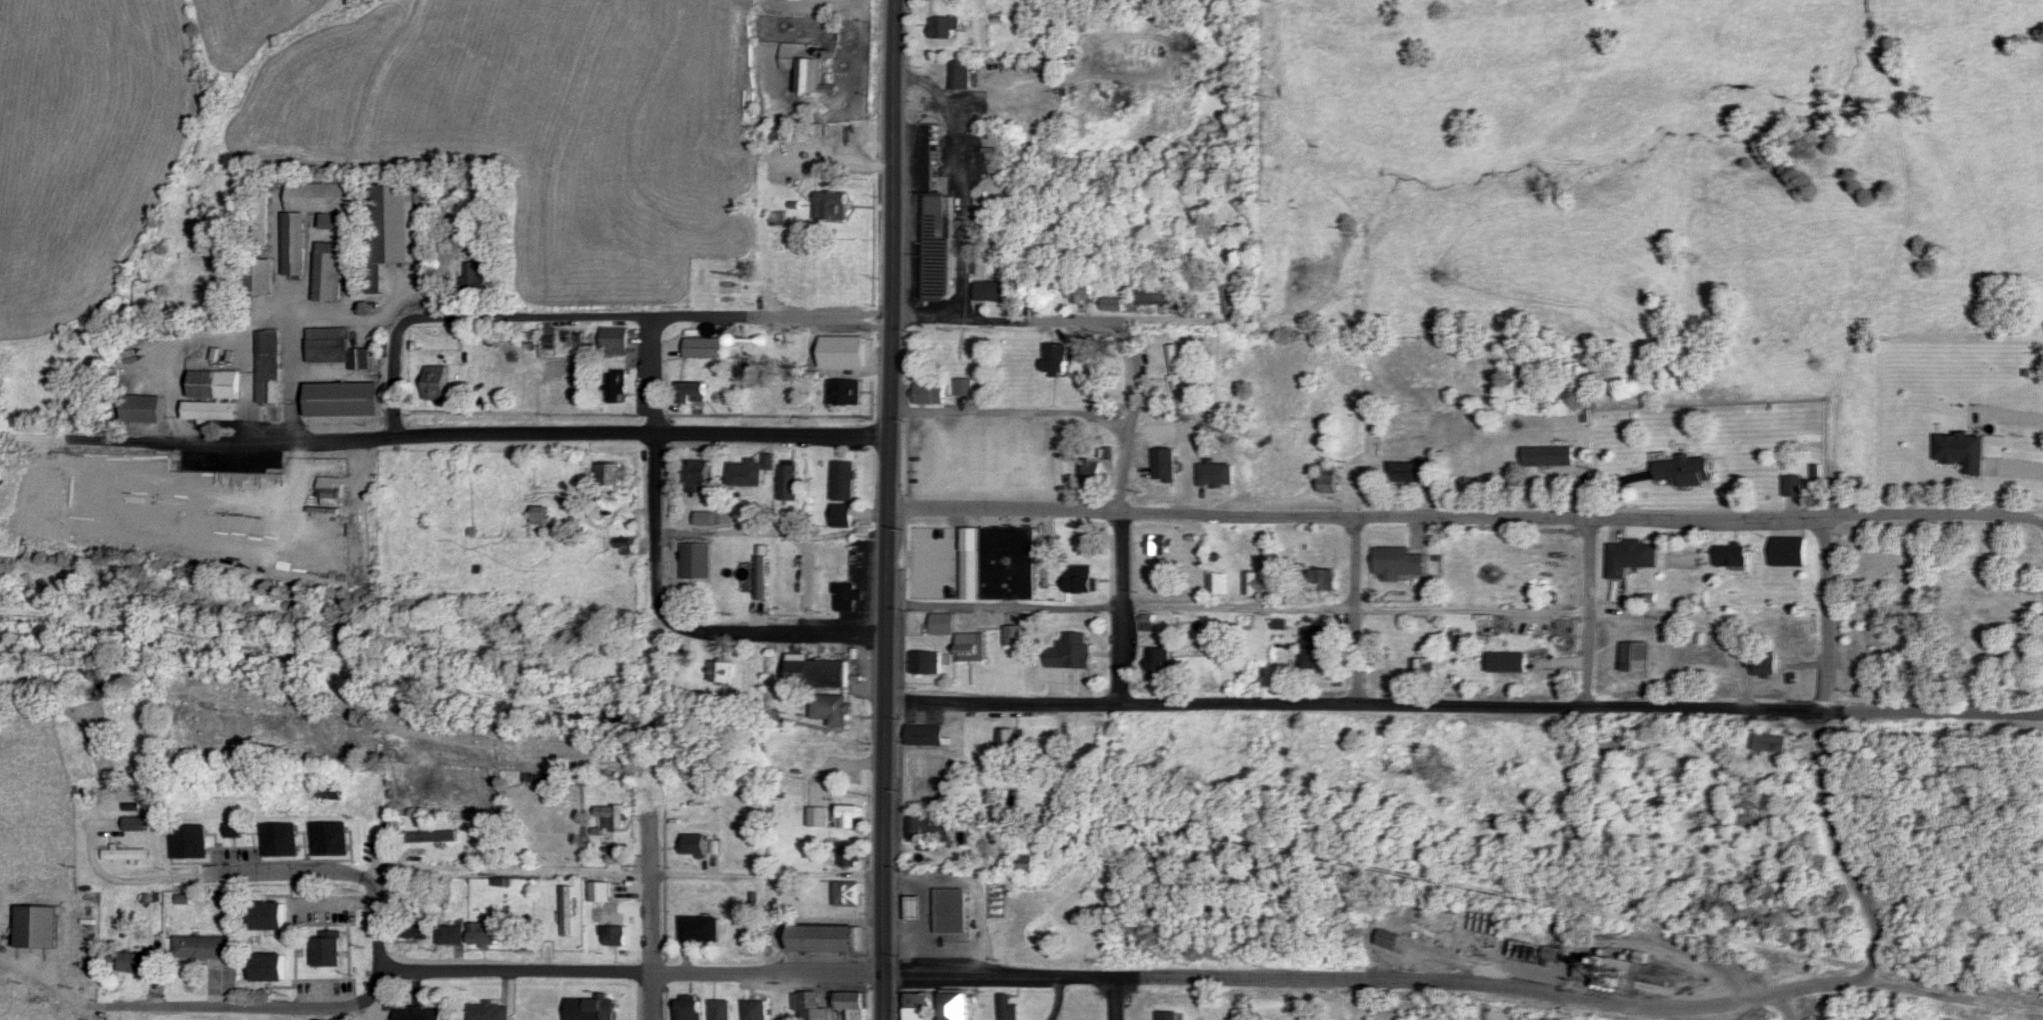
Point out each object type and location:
building: (945, 28)
building: (959, 75)
road: (894, 155)
building: (830, 206)
building: (337, 221)
building: (391, 233)
building: (294, 243)
building: (938, 248)
building: (1200, 252)
building: (327, 273)
building: (258, 278)
building: (474, 278)
building: (991, 291)
building: (1079, 292)
building: (1153, 295)
building: (1111, 305)
road: (1011, 316)
road: (653, 317)
building: (614, 342)
building: (705, 348)
building: (335, 349)
building: (1057, 359)
building: (1174, 367)
building: (269, 374)
road: (395, 374)
building: (434, 382)
building: (214, 385)
building: (618, 386)
building: (965, 387)
building: (844, 392)
building: (693, 394)
building: (928, 394)
building: (789, 395)
building: (342, 400)
building: (144, 409)
building: (211, 411)
road: (775, 432)
road: (329, 440)
building: (1546, 455)
building: (1174, 463)
road: (657, 468)
building: (1682, 469)
building: (1089, 471)
building: (1409, 471)
building: (748, 472)
building: (696, 473)
building: (610, 474)
building: (1328, 478)
building: (788, 483)
building: (1792, 484)
building: (330, 492)
building: (844, 494)
road: (1007, 508)
road: (1239, 512)
building: (539, 515)
road: (1699, 515)
road: (1121, 516)
building: (702, 518)
road: (2042, 522)
building: (624, 543)
building: (1159, 544)
building: (1788, 550)
building: (1632, 553)
building: (2005, 555)
building: (984, 556)
building: (1731, 556)
building: (695, 561)
building: (927, 562)
building: (1322, 579)
building: (1899, 579)
building: (1217, 583)
building: (1256, 583)
building: (1083, 584)
building: (2002, 586)
building: (940, 592)
building: (849, 596)
road: (1005, 608)
road: (1356, 609)
road: (1585, 609)
road: (1238, 610)
building: (942, 623)
road: (776, 630)
building: (1913, 632)
building: (1015, 634)
road: (890, 643)
building: (973, 646)
building: (1311, 646)
building: (1072, 650)
building: (1634, 655)
building: (1861, 655)
building: (1507, 661)
building: (927, 662)
building: (1158, 662)
building: (1763, 663)
building: (1422, 669)
building: (721, 672)
building: (820, 673)
road: (1466, 703)
building: (833, 709)
building: (928, 735)
building: (1011, 741)
building: (1768, 742)
road: (1820, 753)
building: (131, 807)
building: (613, 816)
building: (849, 816)
building: (818, 817)
building: (134, 824)
building: (932, 828)
building: (432, 837)
building: (330, 839)
building: (280, 840)
building: (187, 842)
building: (693, 845)
building: (124, 854)
building: (851, 856)
building: (1029, 860)
road: (335, 871)
building: (601, 891)
building: (849, 894)
building: (916, 906)
gas station: (916, 906)
building: (952, 910)
building: (568, 911)
building: (267, 916)
road: (652, 917)
building: (700, 929)
building: (422, 930)
building: (484, 933)
building: (451, 935)
building: (613, 935)
building: (826, 939)
building: (1387, 939)
building: (203, 948)
building: (328, 952)
building: (38, 954)
building: (267, 966)
road: (632, 970)
building: (1621, 972)
building: (127, 973)
building: (2, 975)
road: (1375, 978)
road: (884, 998)
road: (1114, 998)
building: (849, 1000)
building: (918, 1006)
building: (955, 1006)
road: (280, 1007)
building: (811, 1007)
building: (1009, 1008)
road: (1783, 1008)
building: (600, 1009)
building: (689, 1009)
building: (720, 1009)
building: (755, 1009)
road: (362, 1010)
building: (489, 1011)
building: (420, 1013)
building: (1169, 1015)

